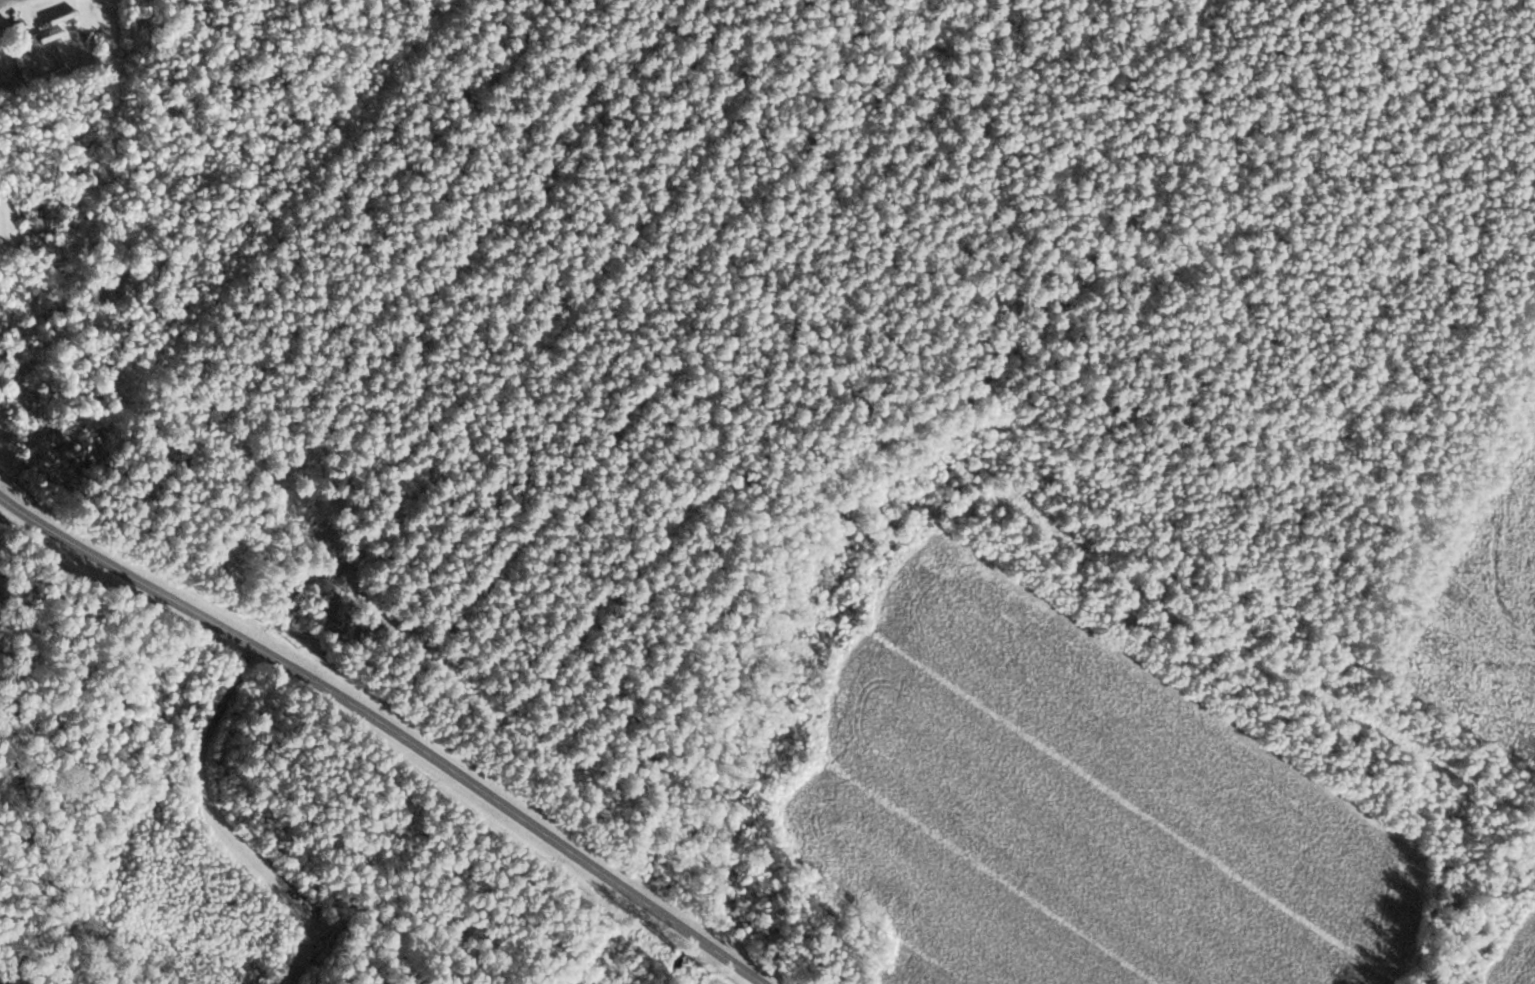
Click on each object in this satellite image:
road: (307, 678)
road: (223, 824)
road: (682, 930)

